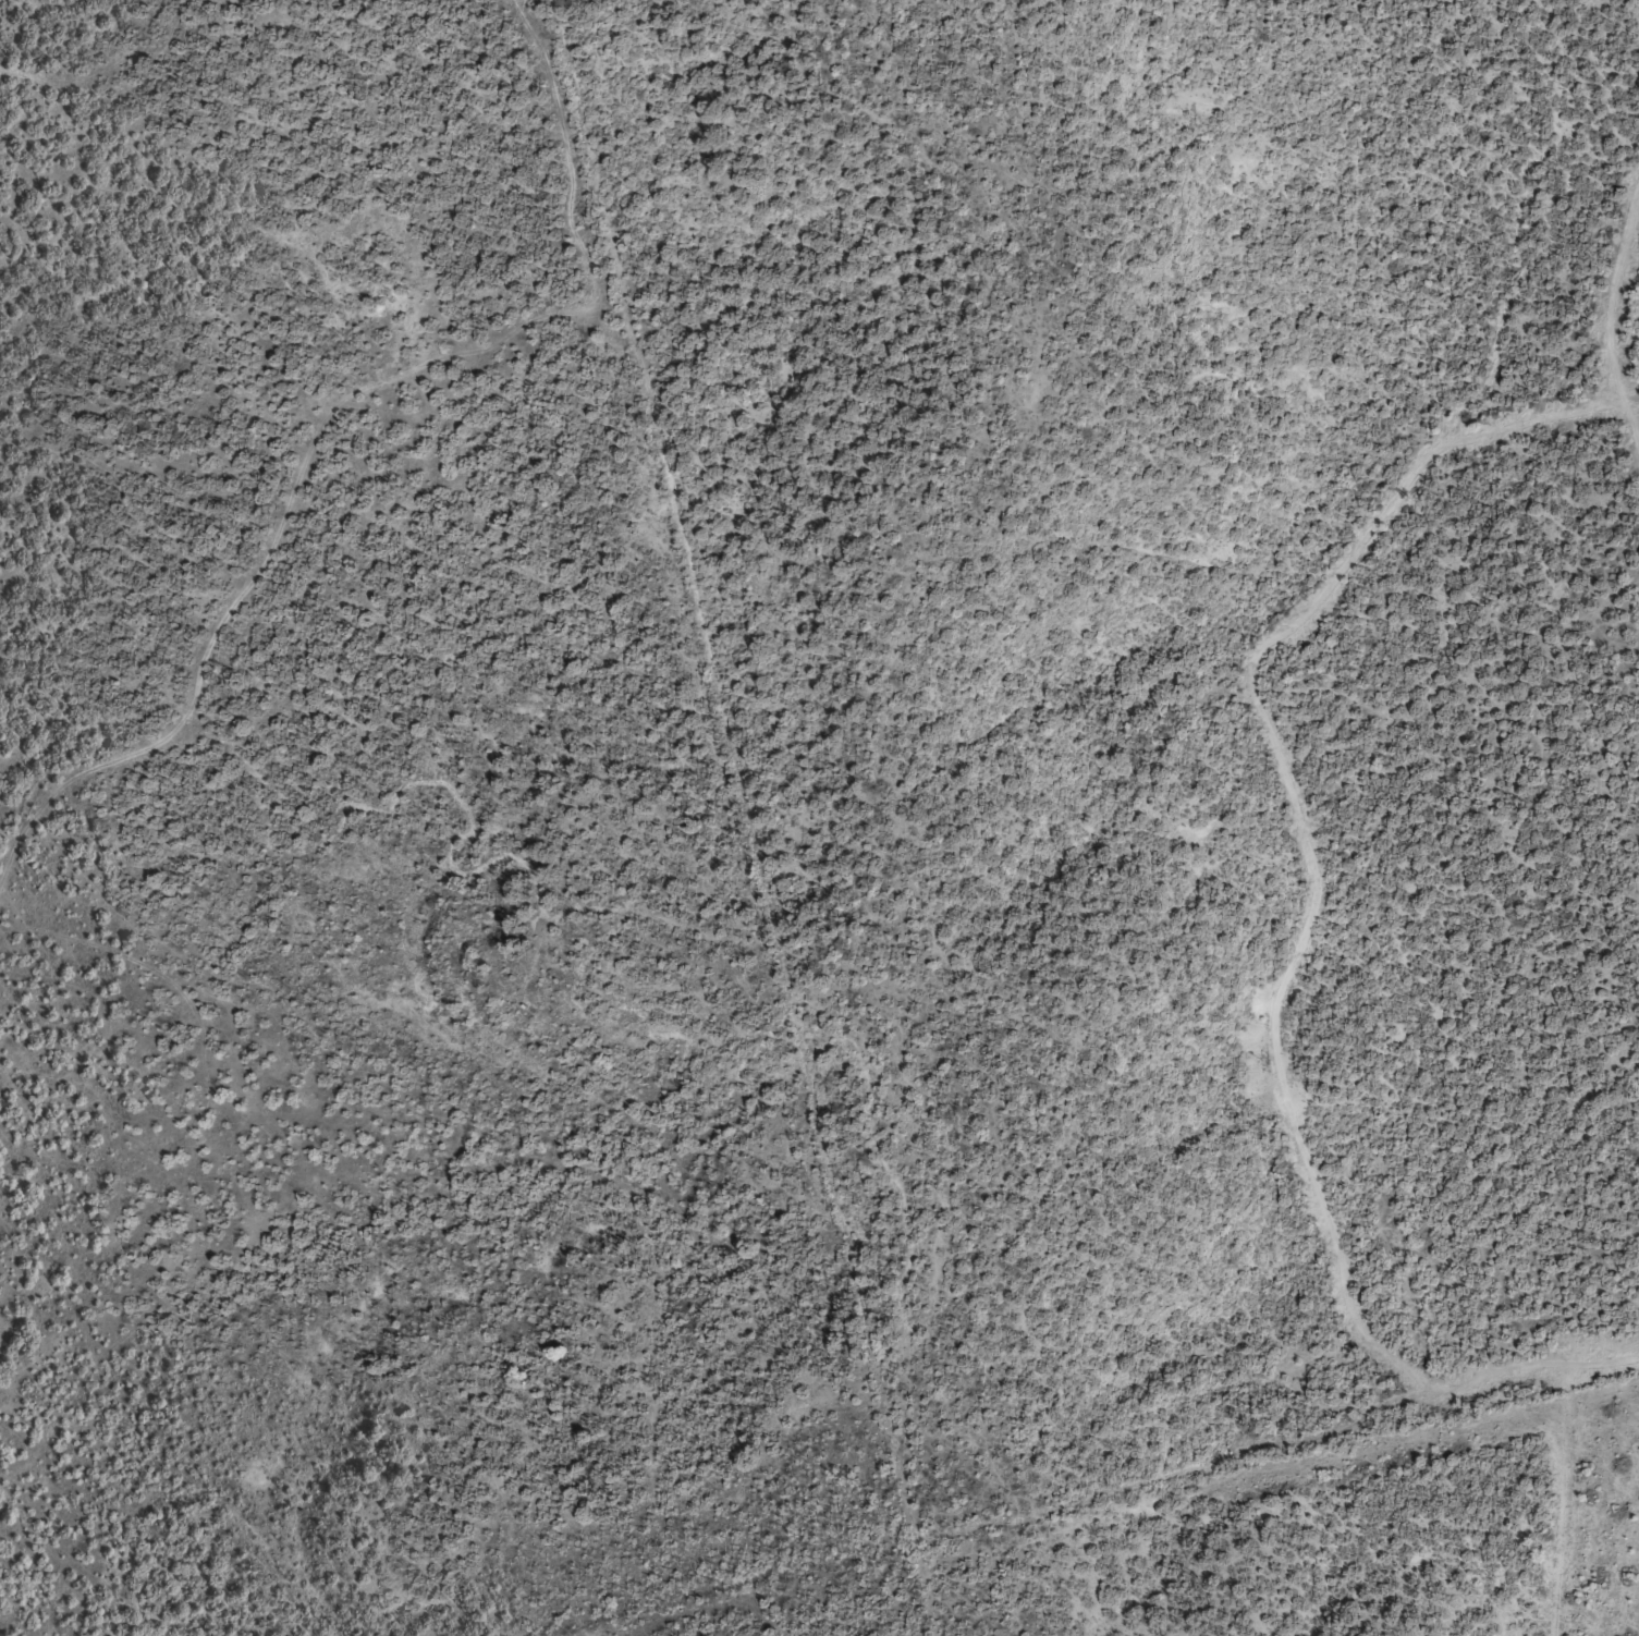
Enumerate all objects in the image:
road: (1509, 1445)

